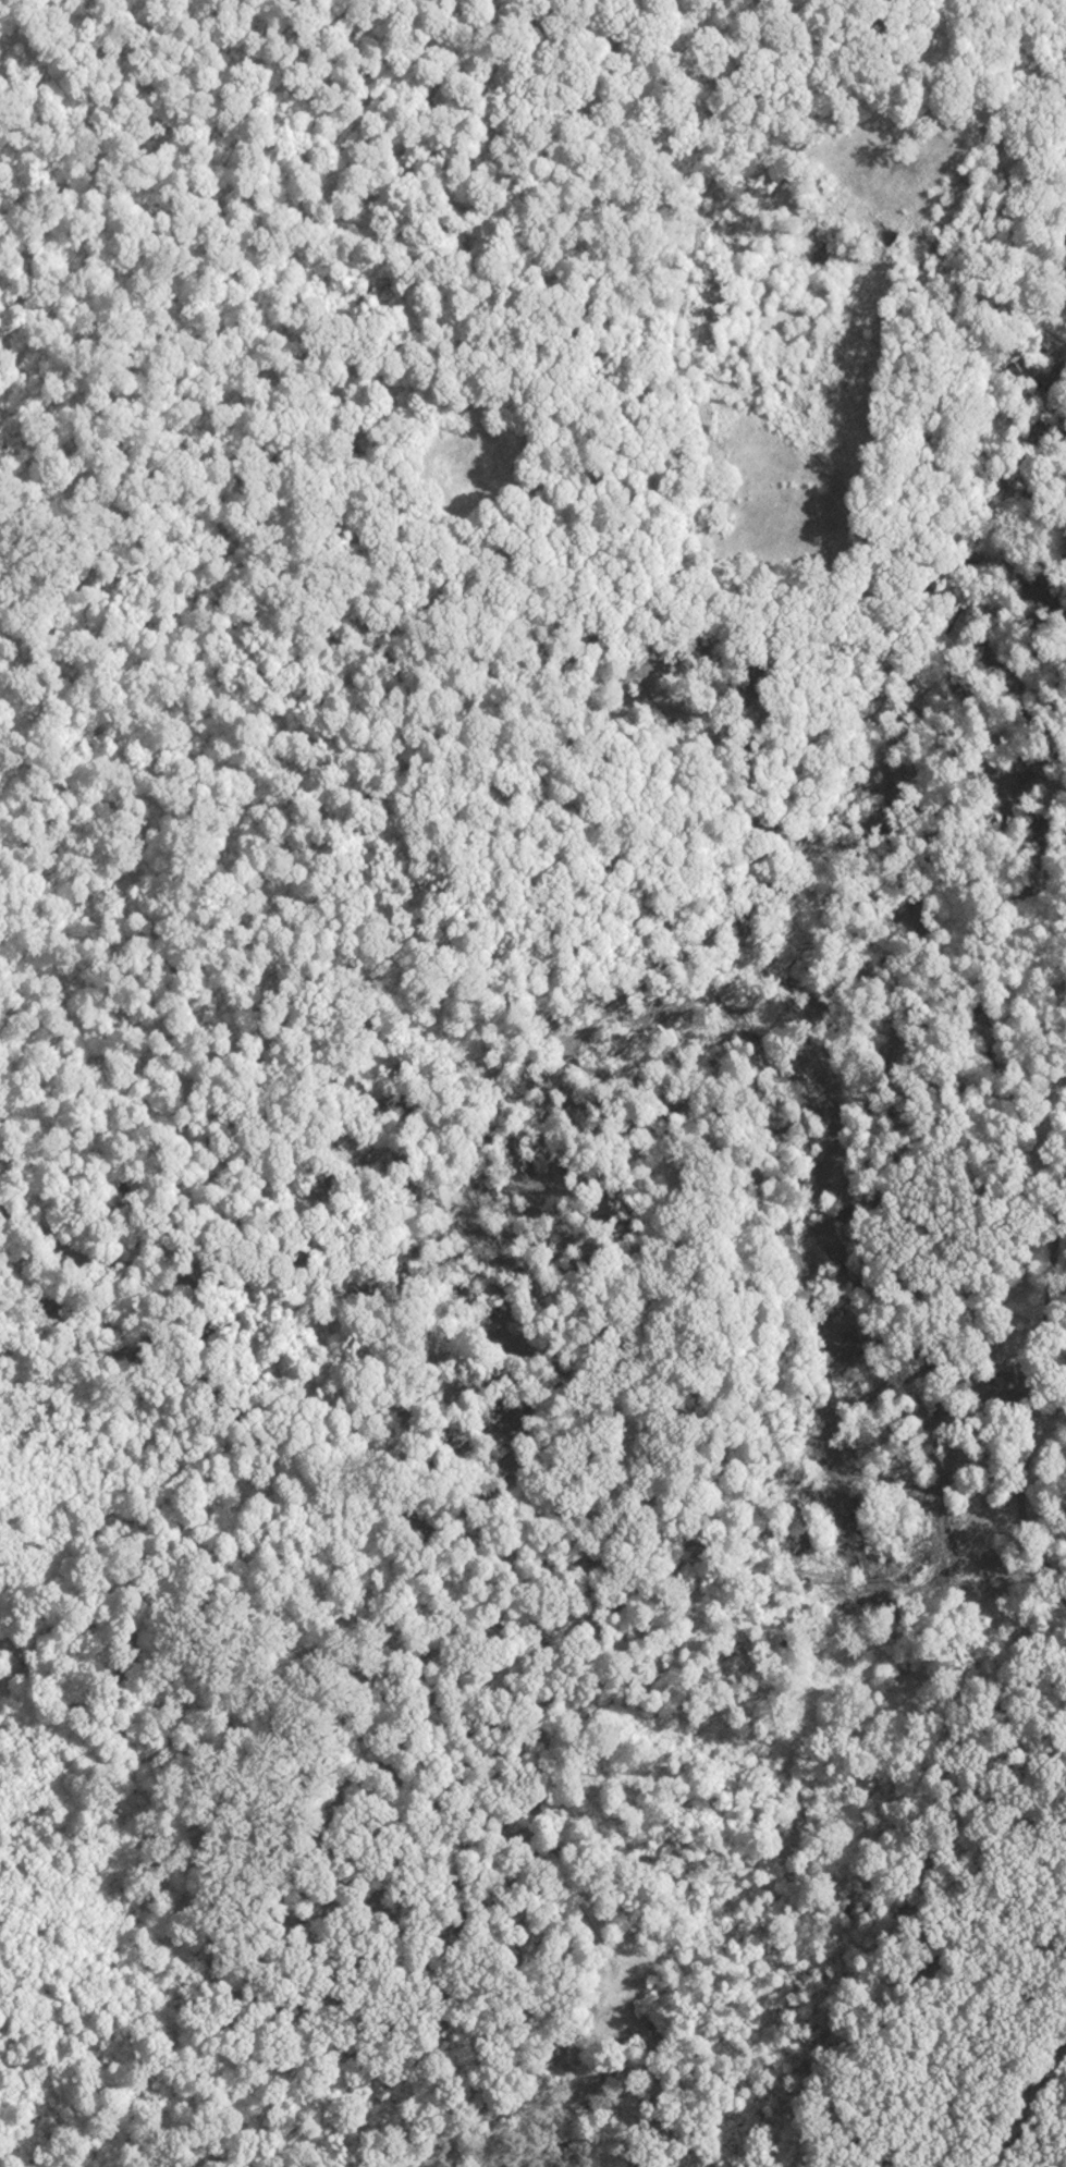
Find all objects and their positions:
road: (1034, 2114)

